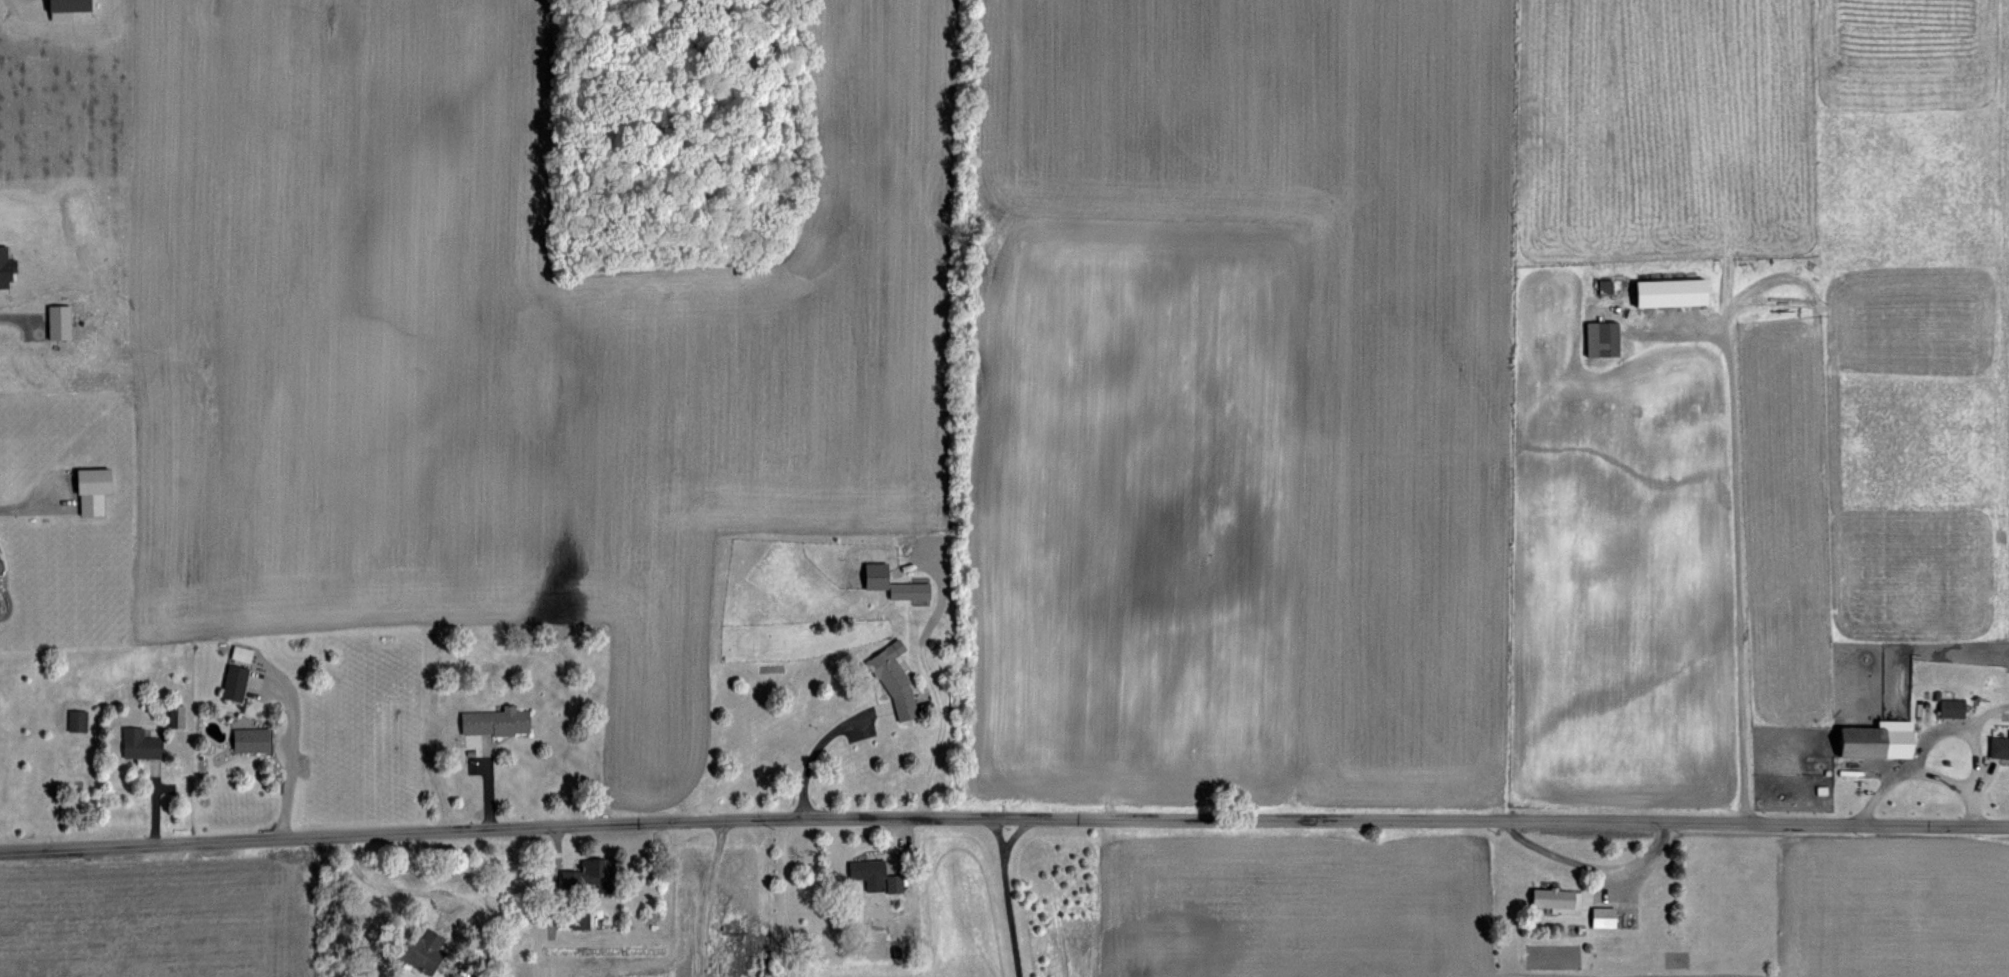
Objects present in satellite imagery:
building: (59, 7)
building: (5, 266)
building: (1599, 288)
building: (1664, 289)
road: (14, 315)
building: (54, 320)
building: (1595, 337)
crop: (1048, 365)
building: (89, 484)
road: (31, 501)
road: (1735, 529)
building: (873, 580)
building: (906, 593)
building: (235, 652)
building: (229, 680)
building: (239, 682)
building: (888, 683)
building: (1947, 706)
building: (171, 714)
building: (182, 716)
building: (71, 719)
building: (82, 721)
building: (486, 725)
road: (1946, 725)
building: (244, 738)
building: (1868, 739)
building: (133, 743)
building: (1998, 744)
road: (289, 748)
road: (813, 754)
road: (1974, 758)
road: (1914, 771)
road: (484, 795)
road: (151, 802)
road: (1004, 817)
road: (891, 839)
road: (1589, 864)
building: (582, 870)
building: (864, 870)
building: (889, 883)
road: (421, 892)
road: (705, 896)
road: (1010, 897)
building: (1548, 898)
crop: (1024, 901)
building: (1597, 916)
building: (575, 917)
building: (417, 951)

